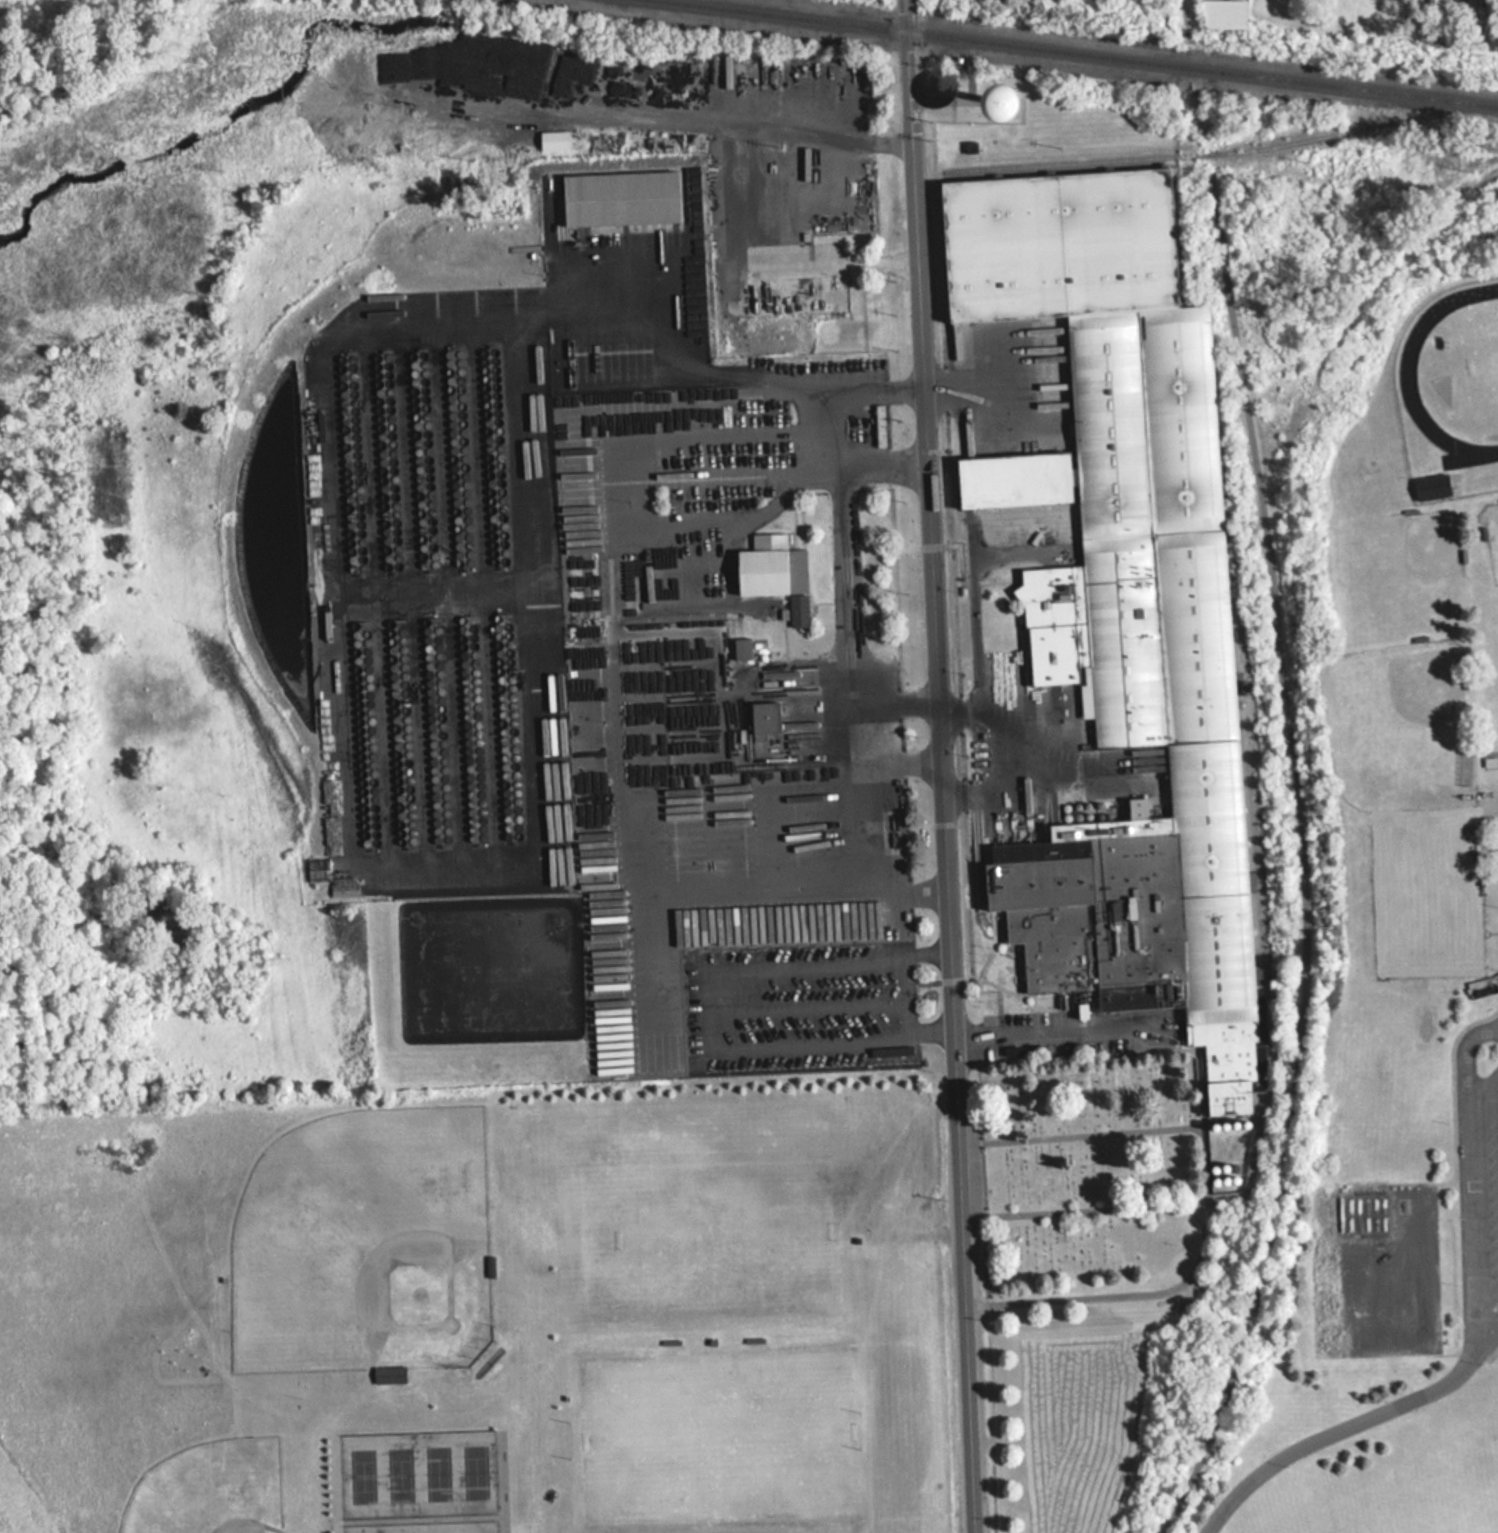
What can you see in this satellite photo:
building: (1223, 13)
road: (905, 15)
road: (1189, 17)
railway: (1083, 52)
building: (996, 98)
building: (402, 129)
building: (552, 139)
railway: (1195, 153)
building: (621, 201)
building: (793, 295)
road: (822, 423)
building: (1431, 486)
building: (773, 572)
building: (1122, 602)
road: (853, 624)
building: (741, 648)
road: (345, 694)
building: (764, 717)
building: (1490, 761)
road: (904, 764)
road: (946, 781)
road: (1298, 821)
road: (870, 842)
road: (914, 994)
road: (713, 1007)
road: (1051, 1027)
park: (1095, 1190)
park: (1414, 1226)
park: (1373, 1228)
park: (1333, 1229)
park: (364, 1230)
building: (489, 1266)
park: (1416, 1309)
park: (1376, 1311)
park: (1336, 1312)
building: (388, 1374)
road: (1346, 1424)
park: (423, 1480)
park: (211, 1491)

